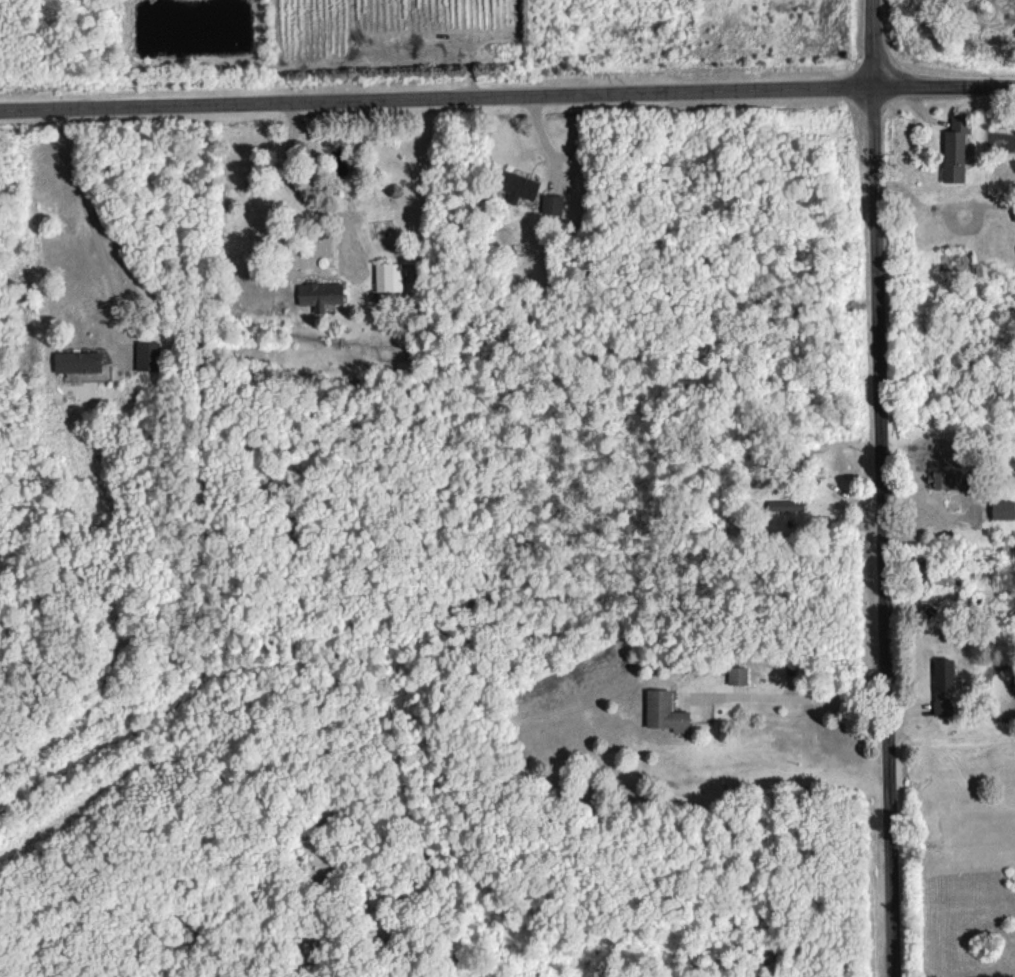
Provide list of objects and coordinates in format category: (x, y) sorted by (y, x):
road: (507, 99)
building: (954, 148)
building: (519, 187)
road: (300, 192)
building: (551, 204)
building: (1014, 215)
road: (89, 217)
building: (387, 276)
building: (318, 294)
building: (147, 355)
building: (81, 366)
building: (941, 479)
road: (880, 488)
building: (786, 508)
building: (1001, 509)
building: (738, 675)
building: (941, 685)
road: (801, 696)
building: (663, 712)

